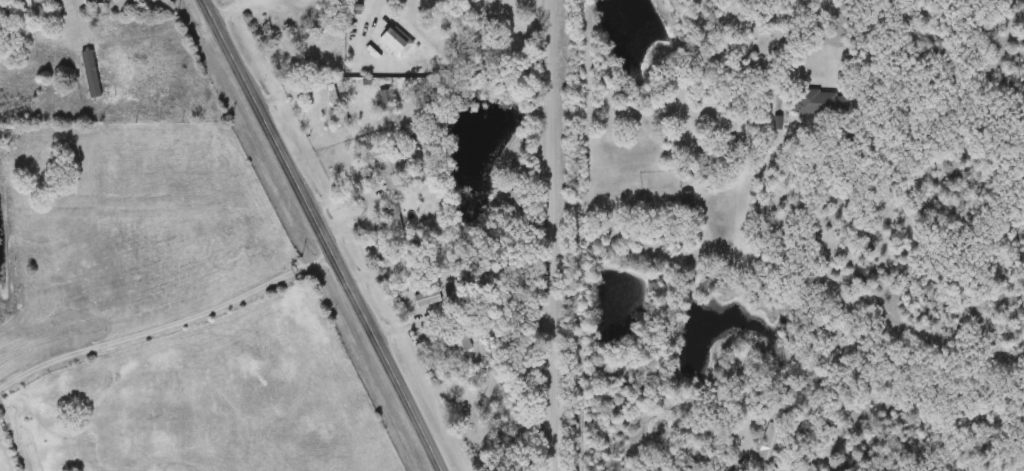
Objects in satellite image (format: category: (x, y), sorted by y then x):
road: (382, 2)
building: (394, 41)
road: (806, 53)
building: (384, 100)
building: (335, 103)
building: (822, 103)
building: (392, 170)
building: (686, 201)
building: (387, 222)
road: (324, 234)
road: (548, 235)
building: (426, 298)
road: (168, 325)
building: (458, 340)
building: (771, 448)

